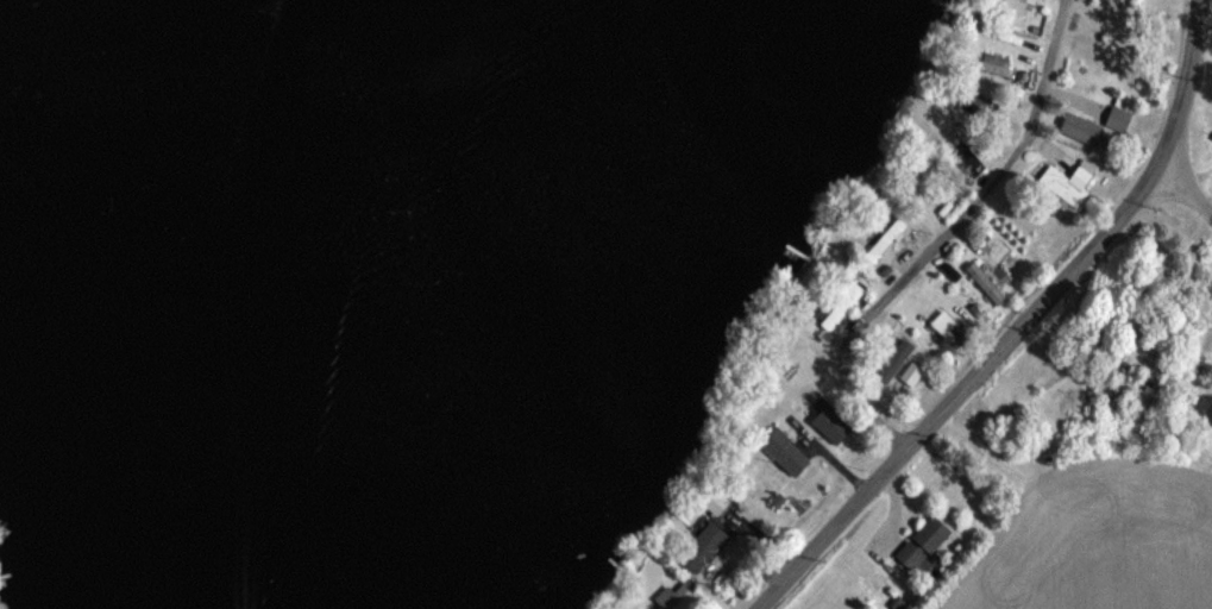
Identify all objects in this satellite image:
building: (1035, 0)
building: (1006, 6)
road: (1204, 45)
building: (997, 64)
building: (975, 101)
building: (1067, 182)
road: (1185, 195)
building: (883, 236)
road: (911, 264)
building: (985, 283)
building: (840, 303)
building: (944, 325)
road: (1018, 326)
building: (910, 372)
building: (781, 451)
building: (923, 542)
building: (702, 547)
building: (671, 592)

